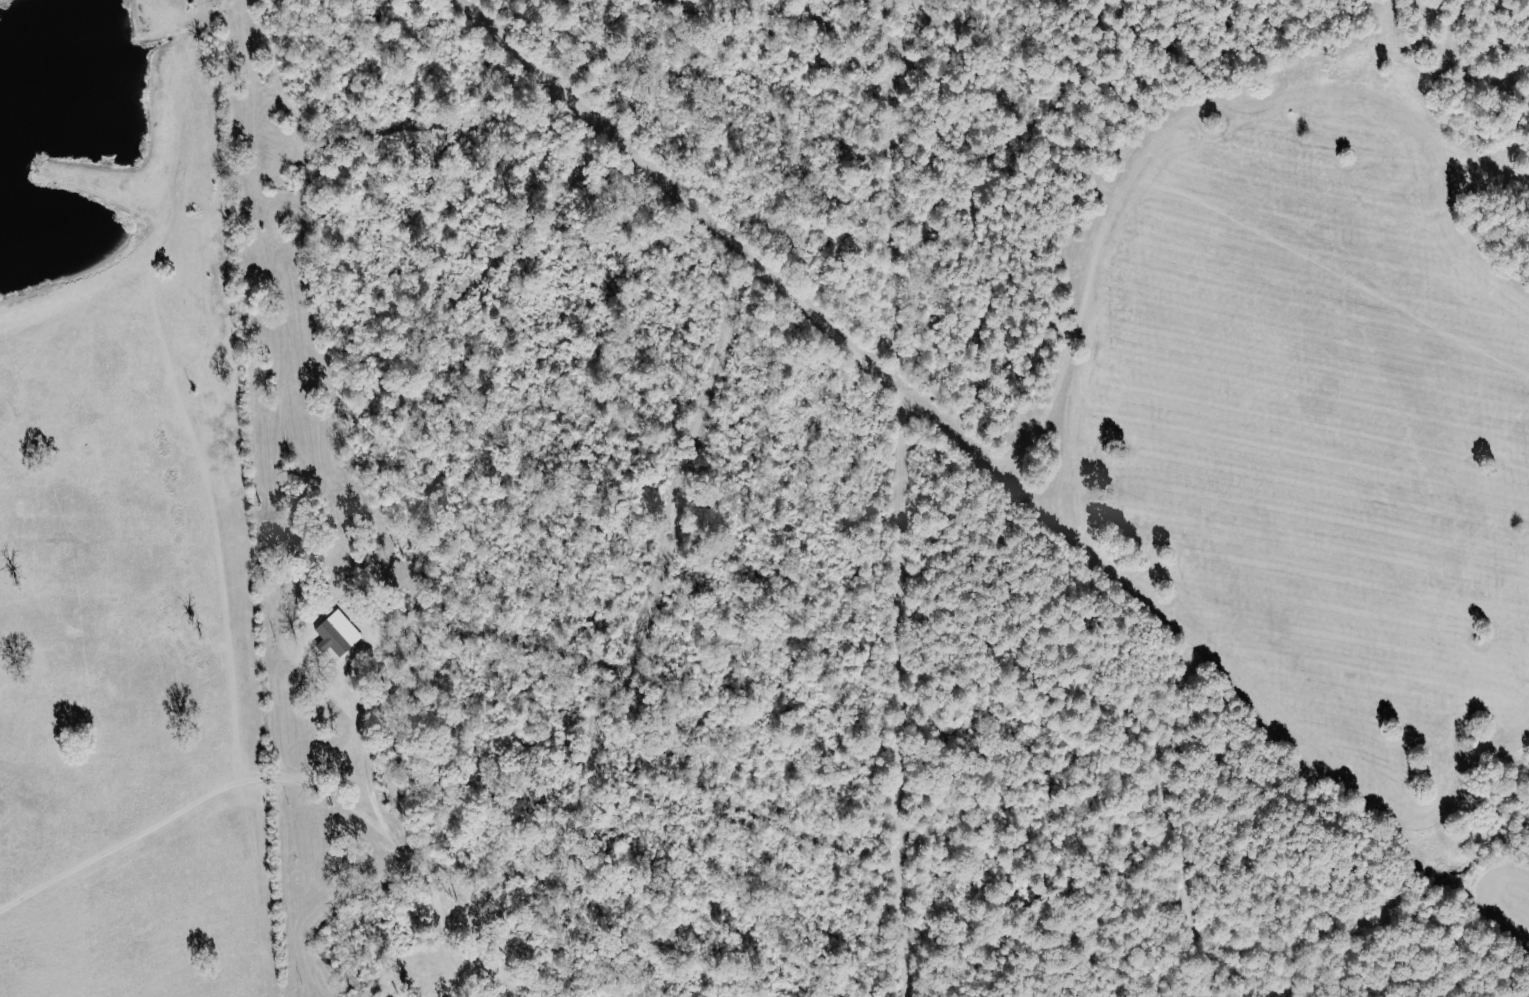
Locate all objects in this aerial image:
building: (338, 633)
road: (399, 845)

